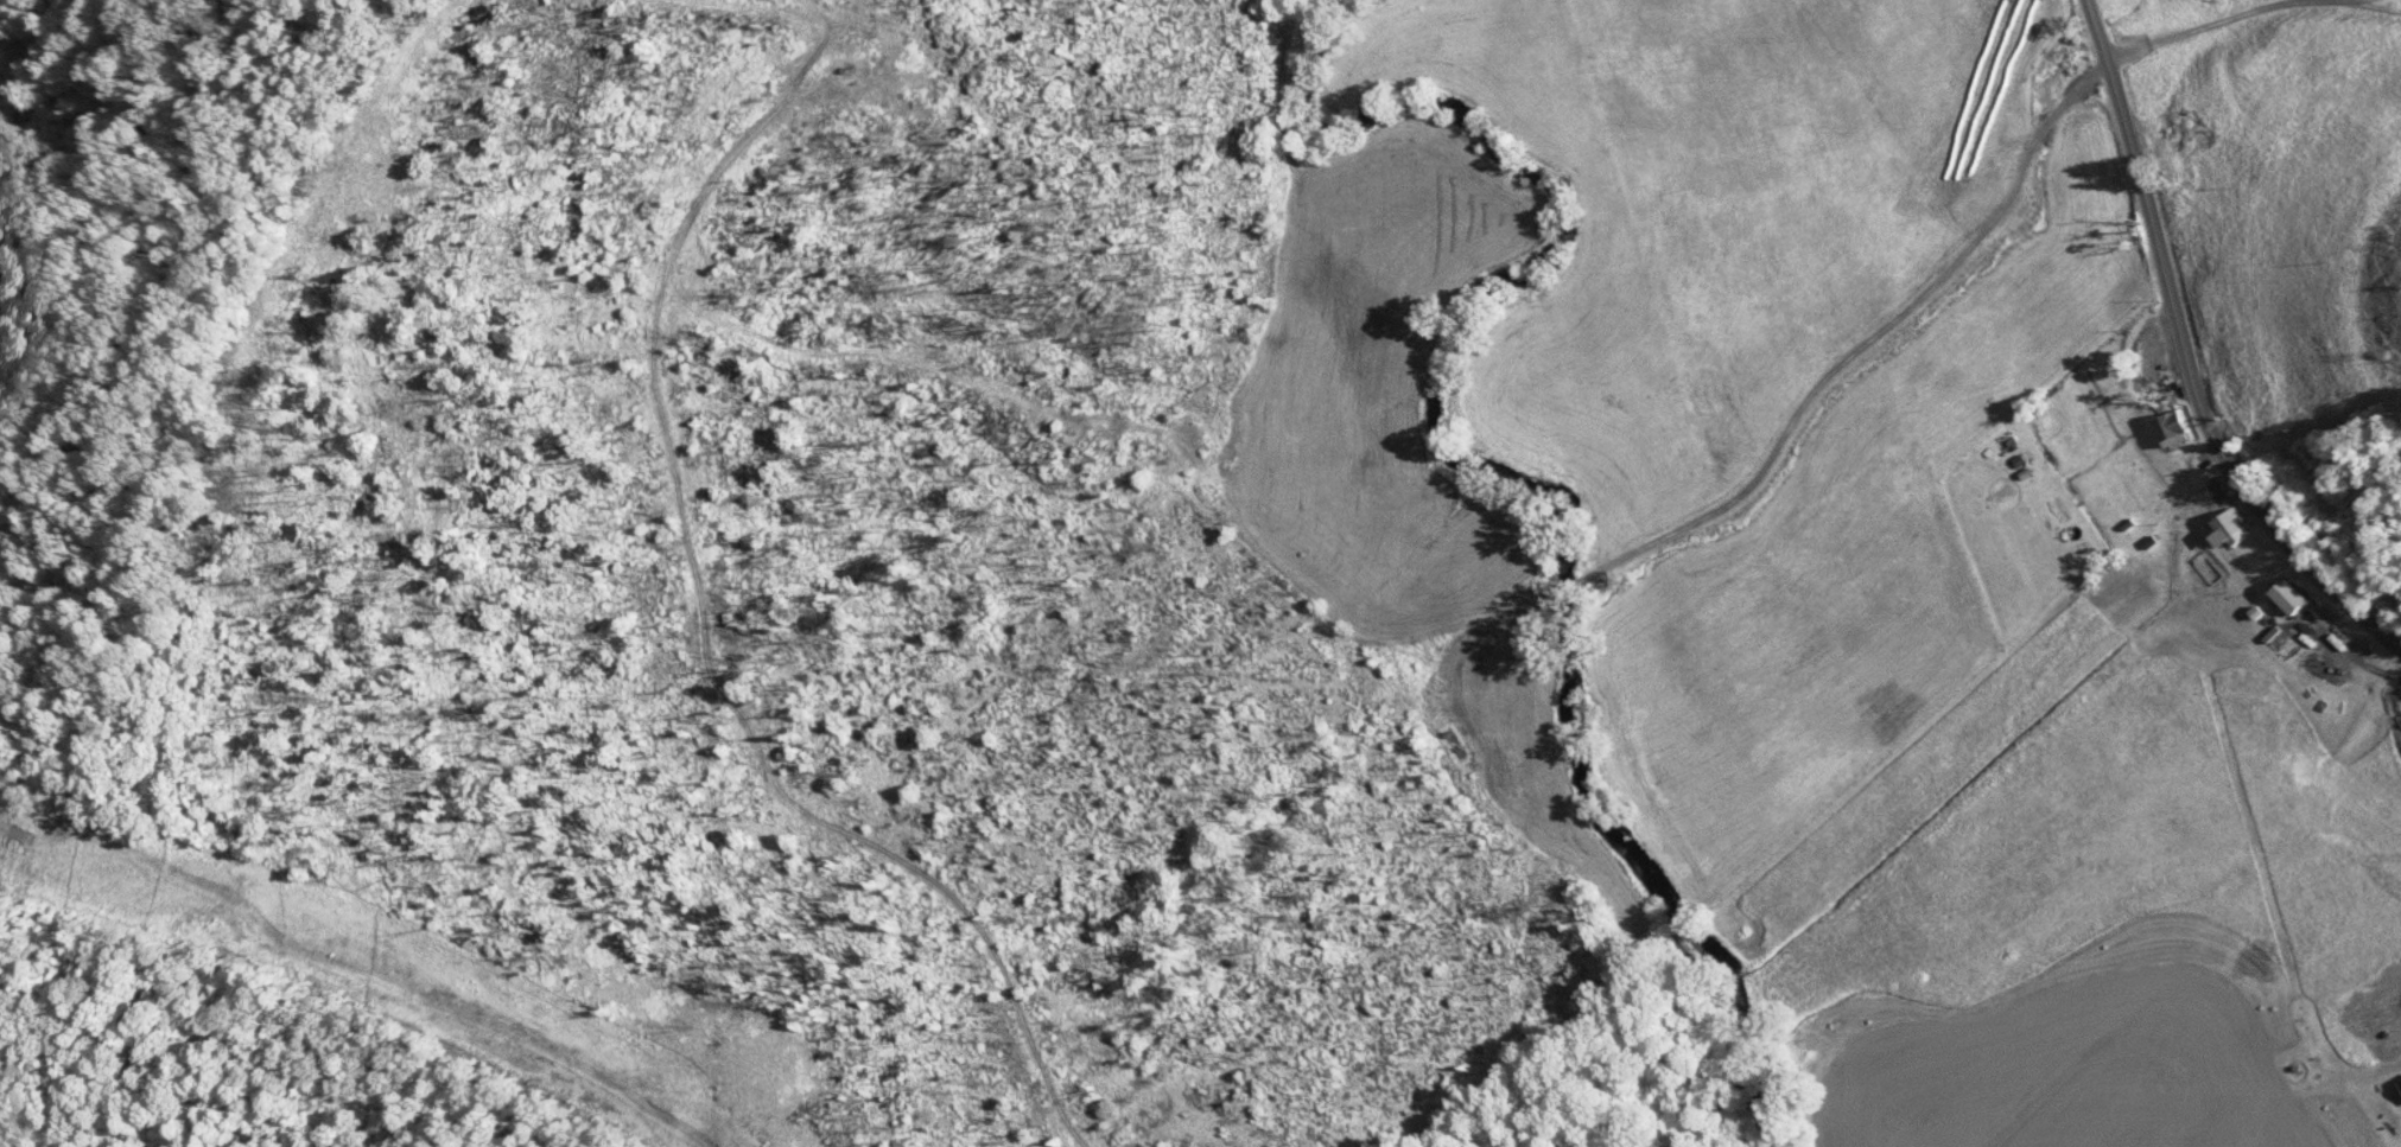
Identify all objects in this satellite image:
road: (2354, 1)
road: (2225, 19)
building: (2168, 138)
road: (1861, 346)
building: (2151, 357)
road: (2184, 357)
building: (2173, 431)
river: (1481, 472)
building: (2231, 530)
road: (1561, 587)
building: (2293, 598)
road: (1467, 648)
road: (2364, 1073)

